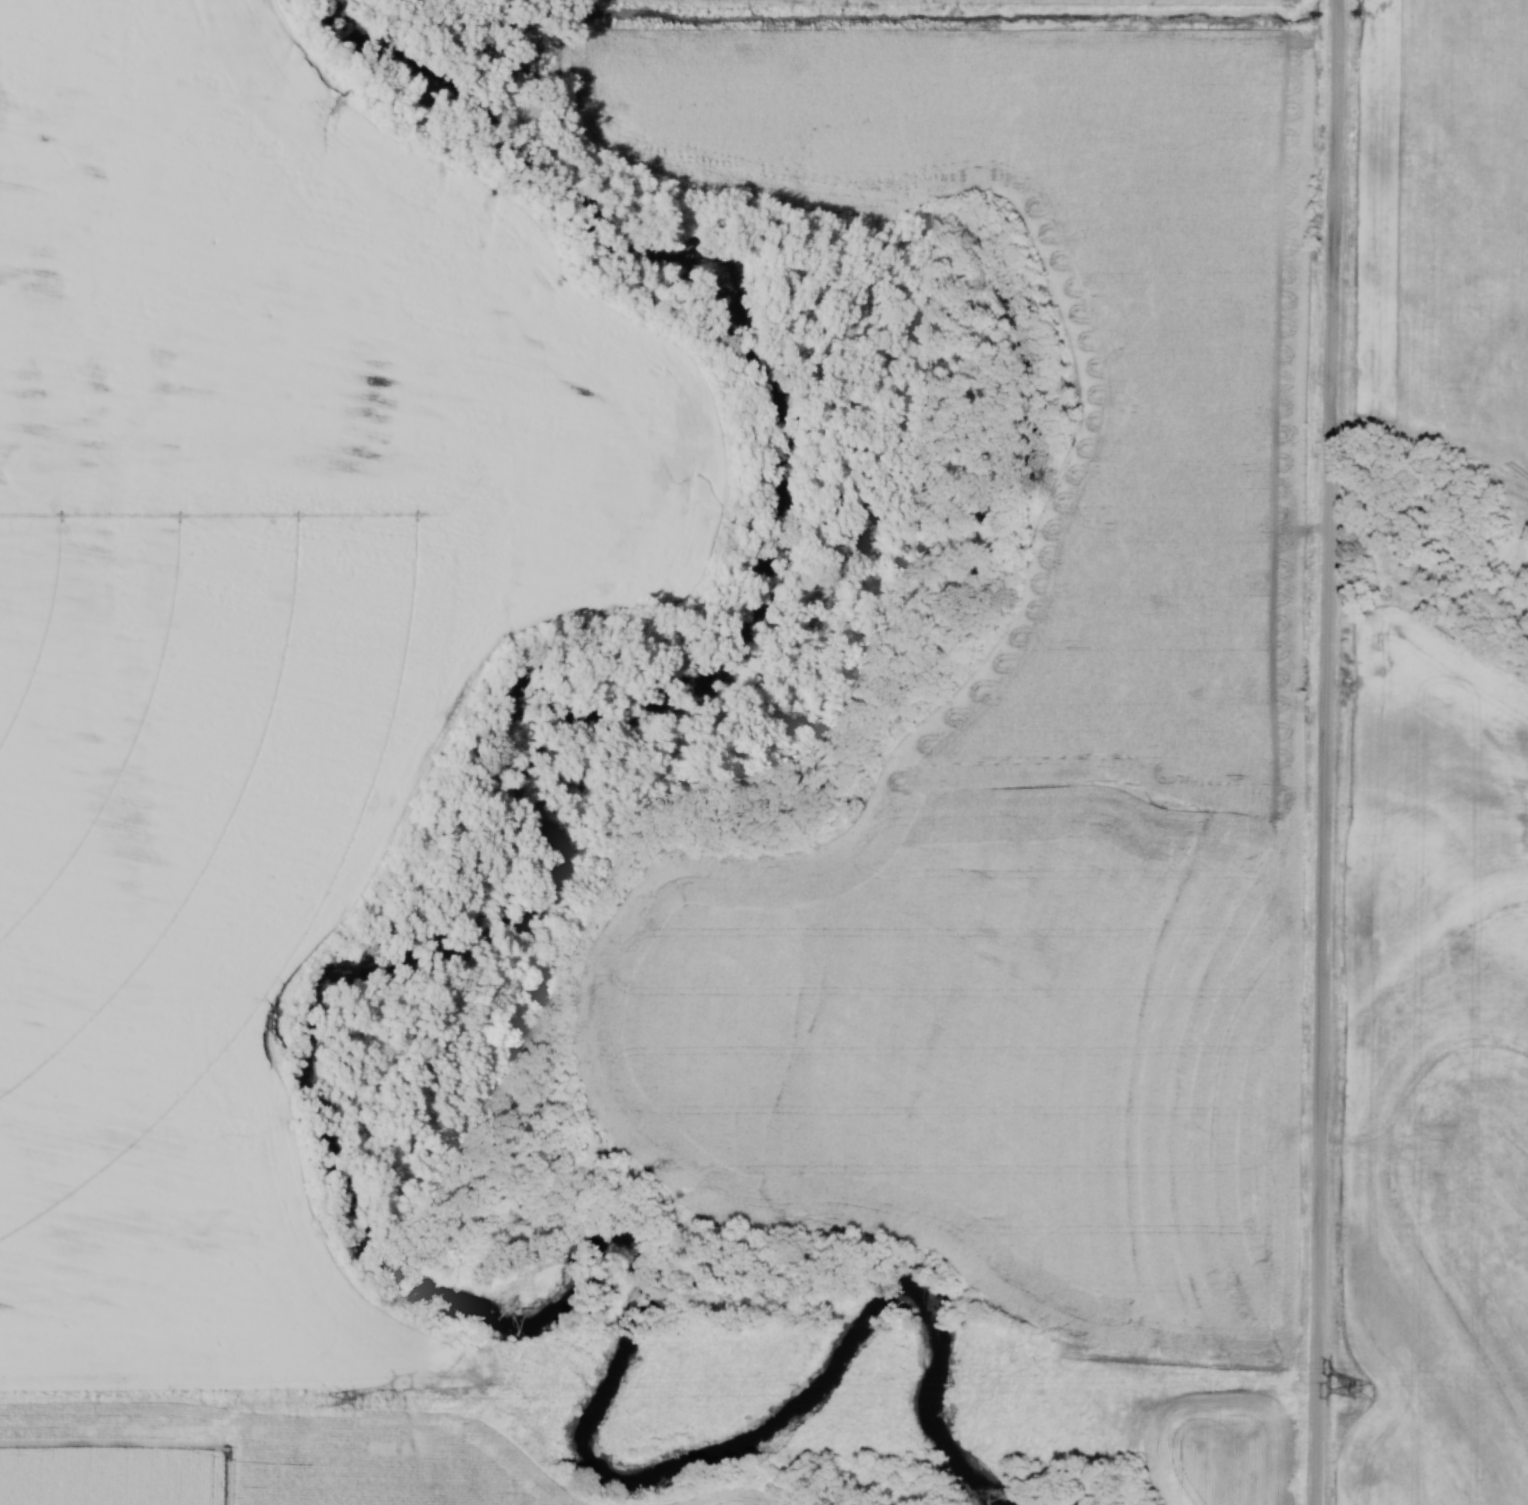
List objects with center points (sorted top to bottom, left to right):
road: (1330, 752)
power tower: (1362, 1392)
power tower: (318, 1401)

